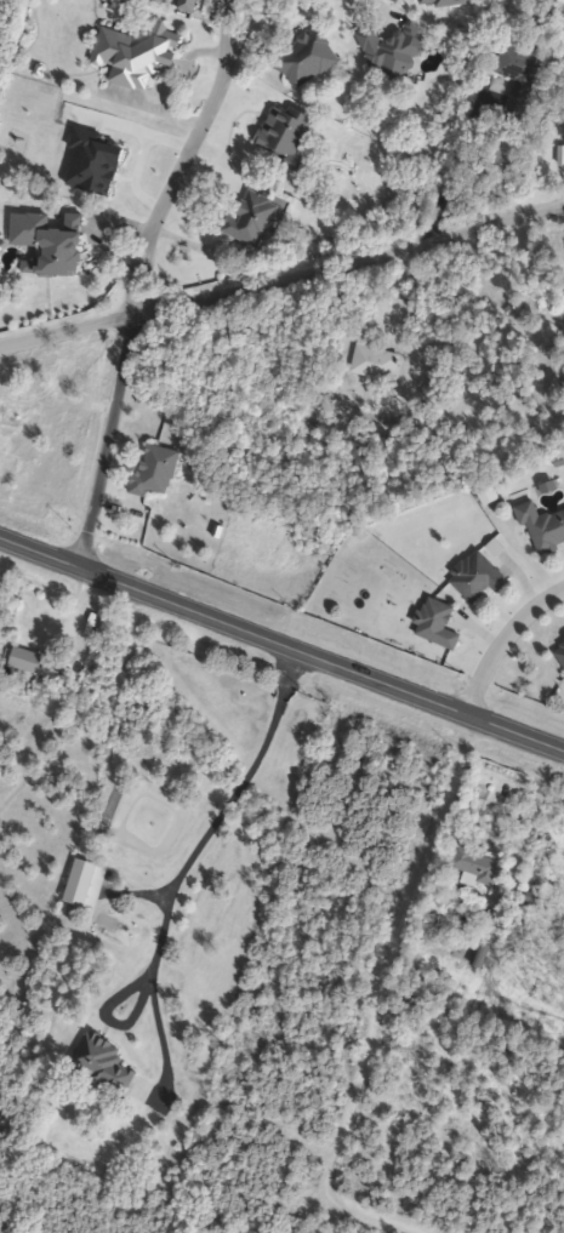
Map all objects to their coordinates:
building: (440, 2)
building: (190, 6)
building: (395, 50)
building: (139, 51)
building: (309, 58)
building: (522, 73)
building: (511, 150)
road: (186, 156)
road: (451, 159)
building: (258, 219)
road: (281, 274)
building: (377, 359)
road: (107, 441)
building: (155, 472)
building: (543, 527)
building: (479, 577)
building: (438, 624)
road: (499, 637)
road: (281, 644)
building: (560, 651)
building: (475, 866)
road: (177, 870)
building: (80, 883)
building: (480, 957)
road: (374, 1001)
building: (106, 1061)

